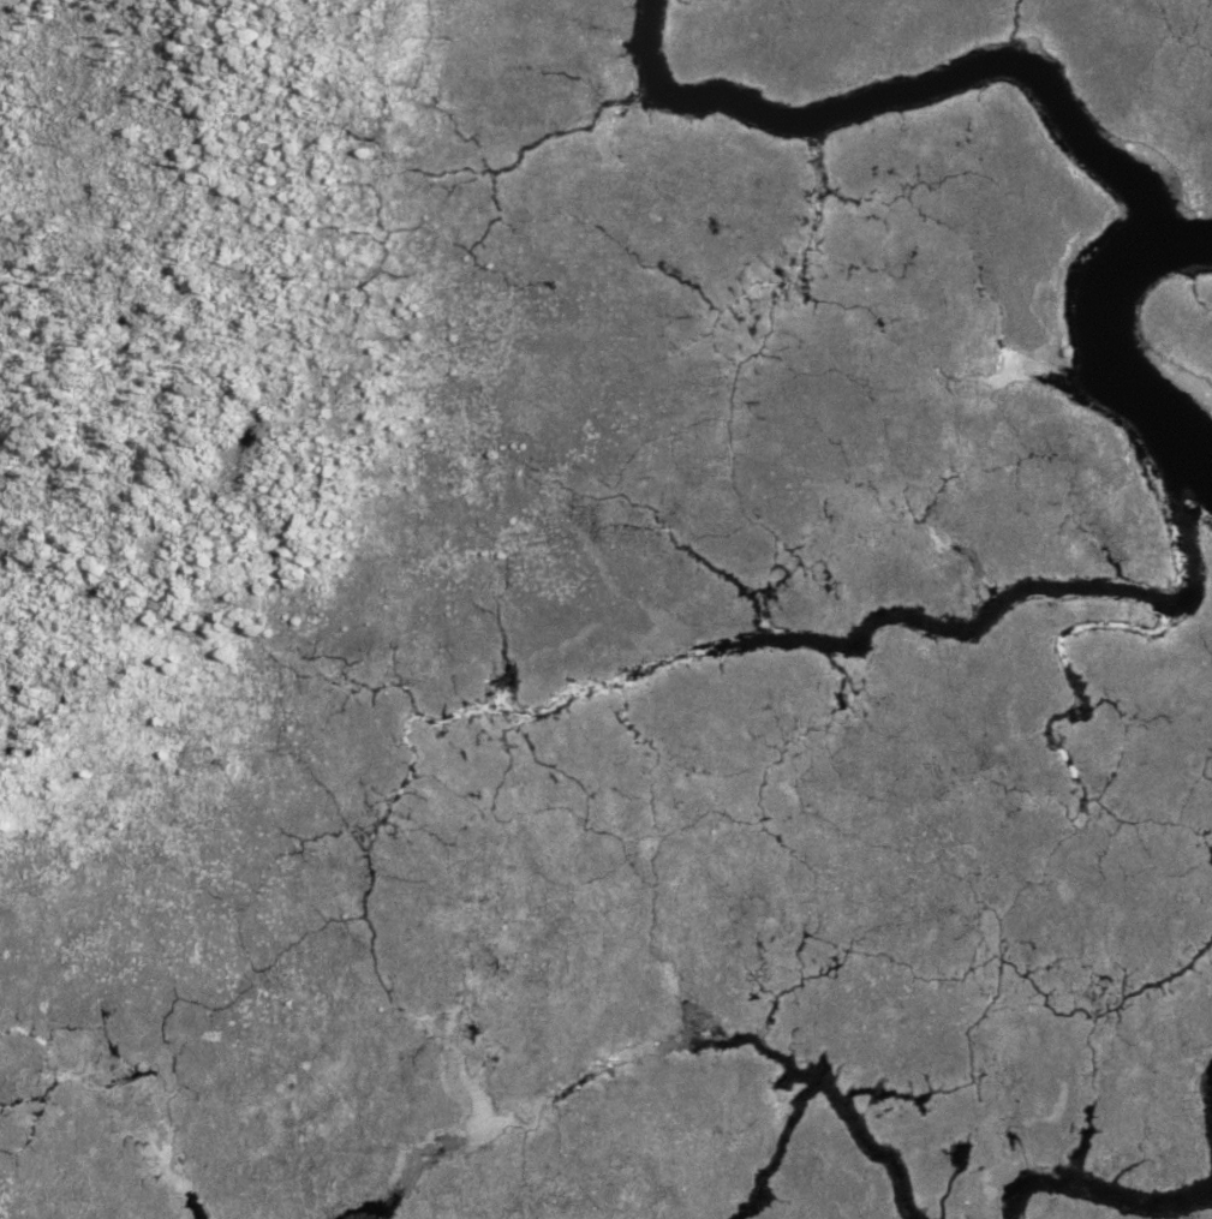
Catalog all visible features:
river: (1099, 334)

